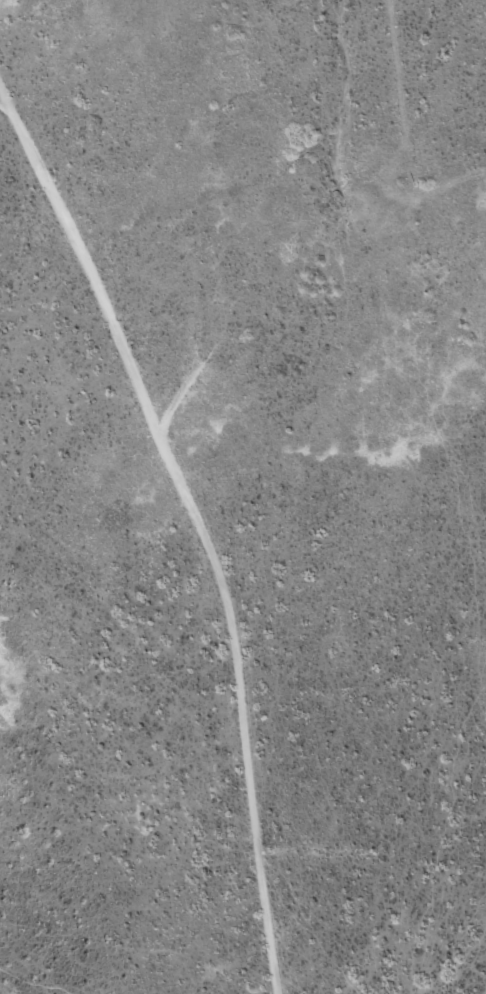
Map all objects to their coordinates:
road: (2, 990)

